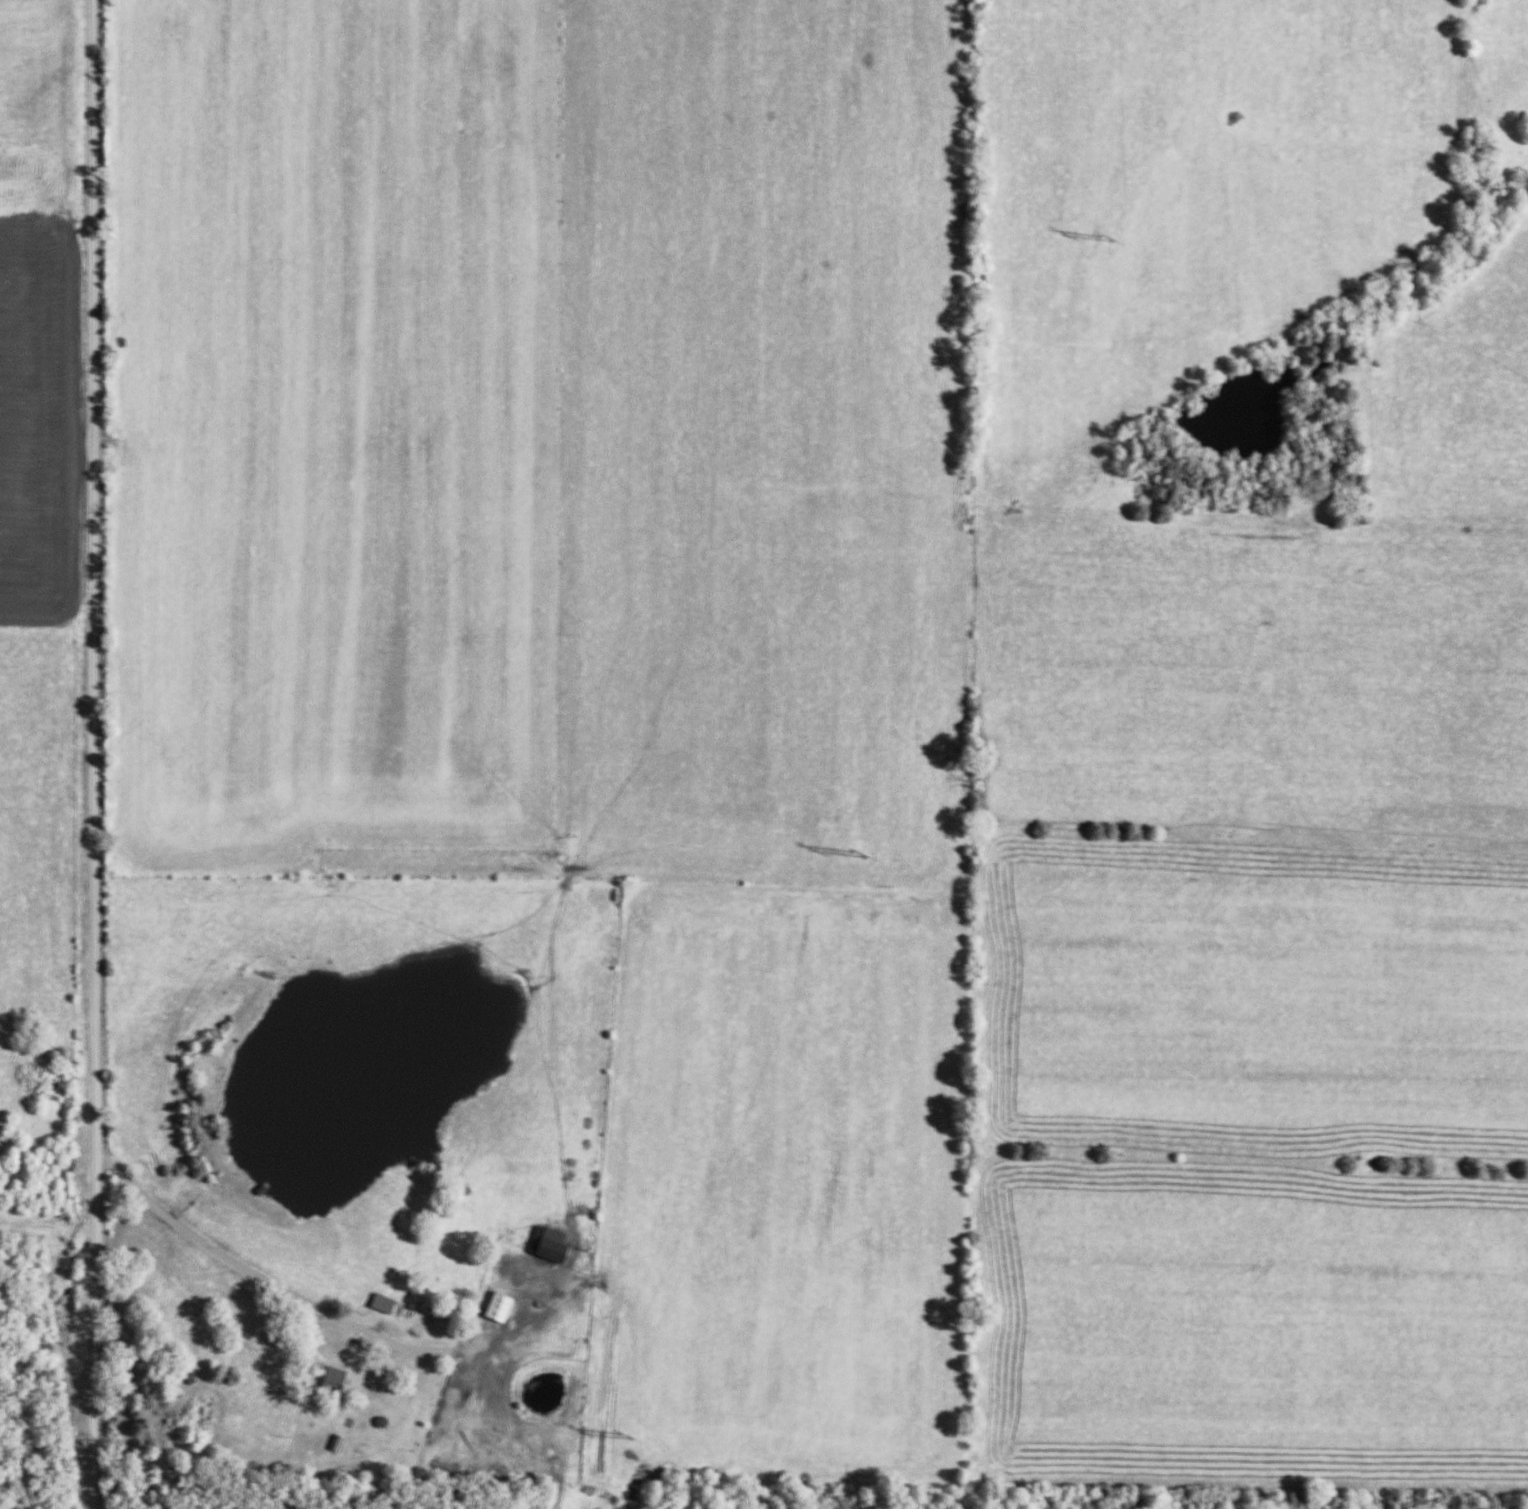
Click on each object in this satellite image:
power tower: (1100, 236)
road: (94, 754)
power tower: (854, 849)
building: (545, 1245)
road: (247, 1272)
building: (378, 1304)
building: (494, 1309)
building: (186, 1380)
building: (328, 1385)
power tower: (621, 1431)

